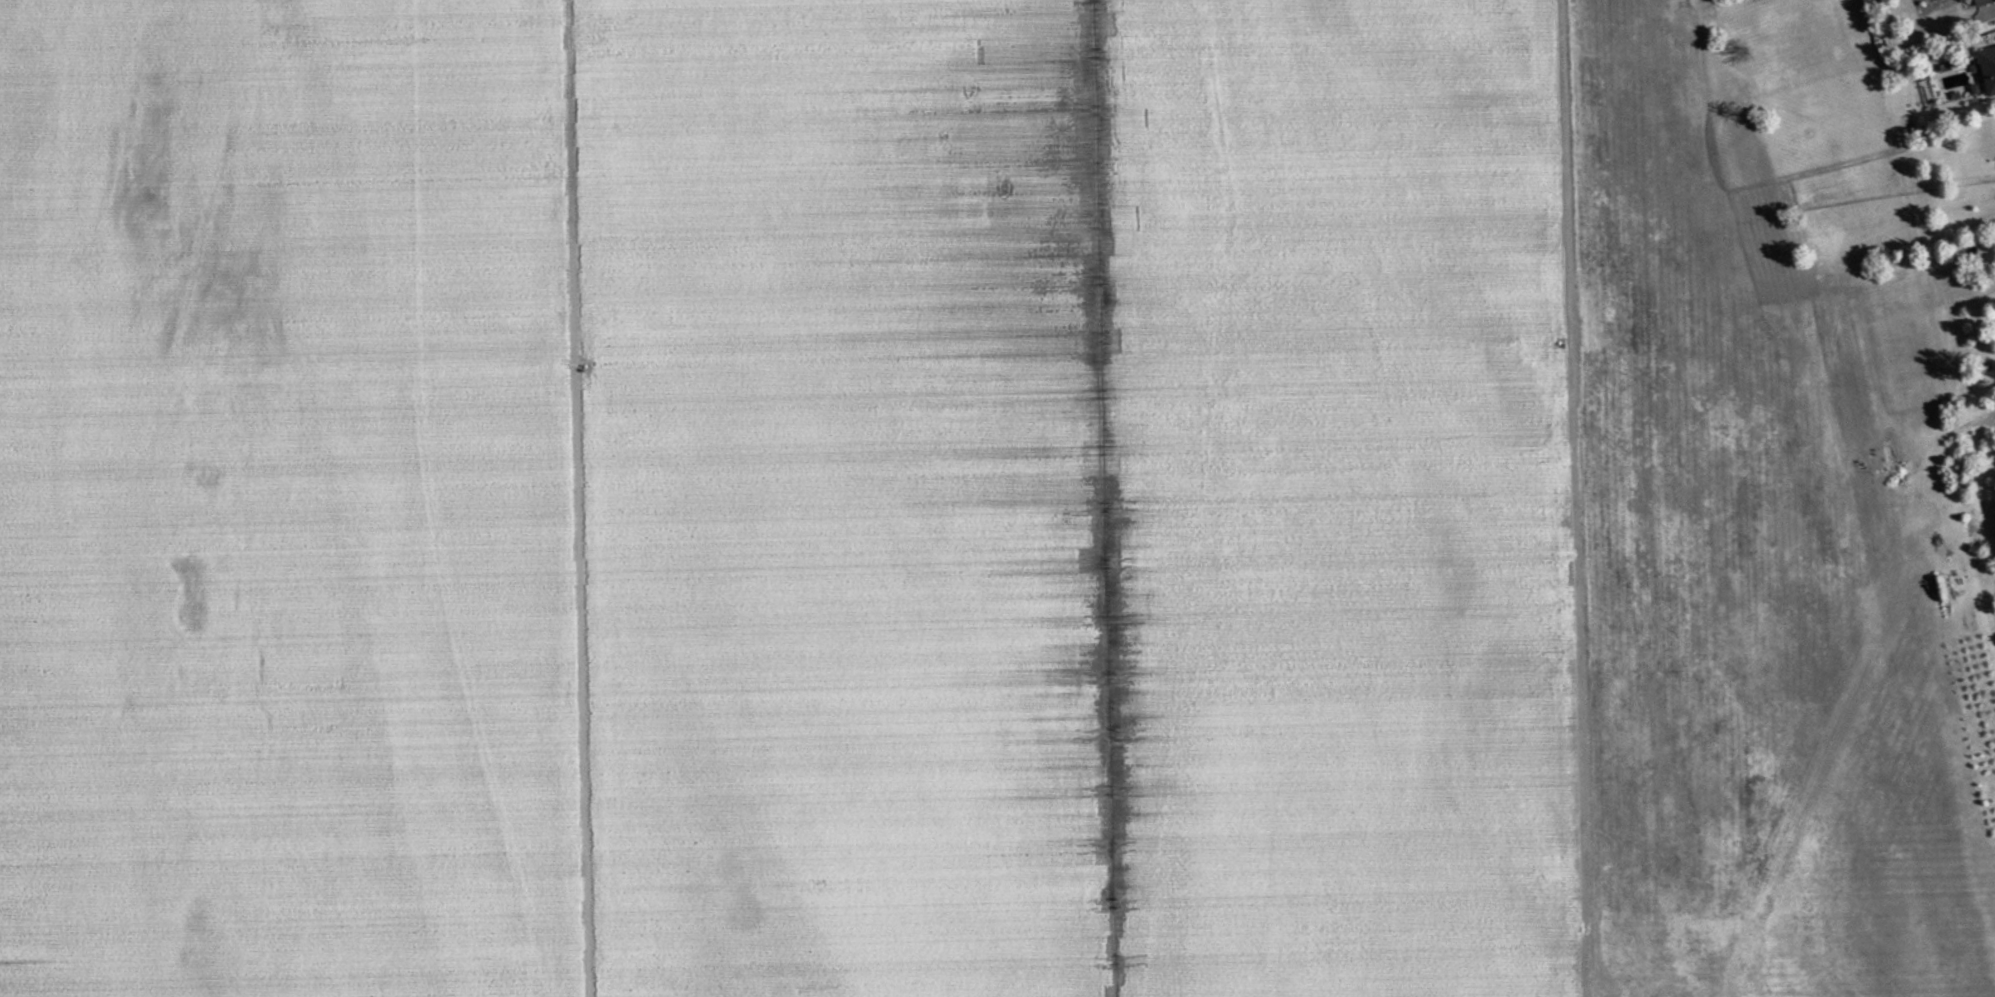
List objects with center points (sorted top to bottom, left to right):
building: (1984, 2)
building: (1987, 68)

